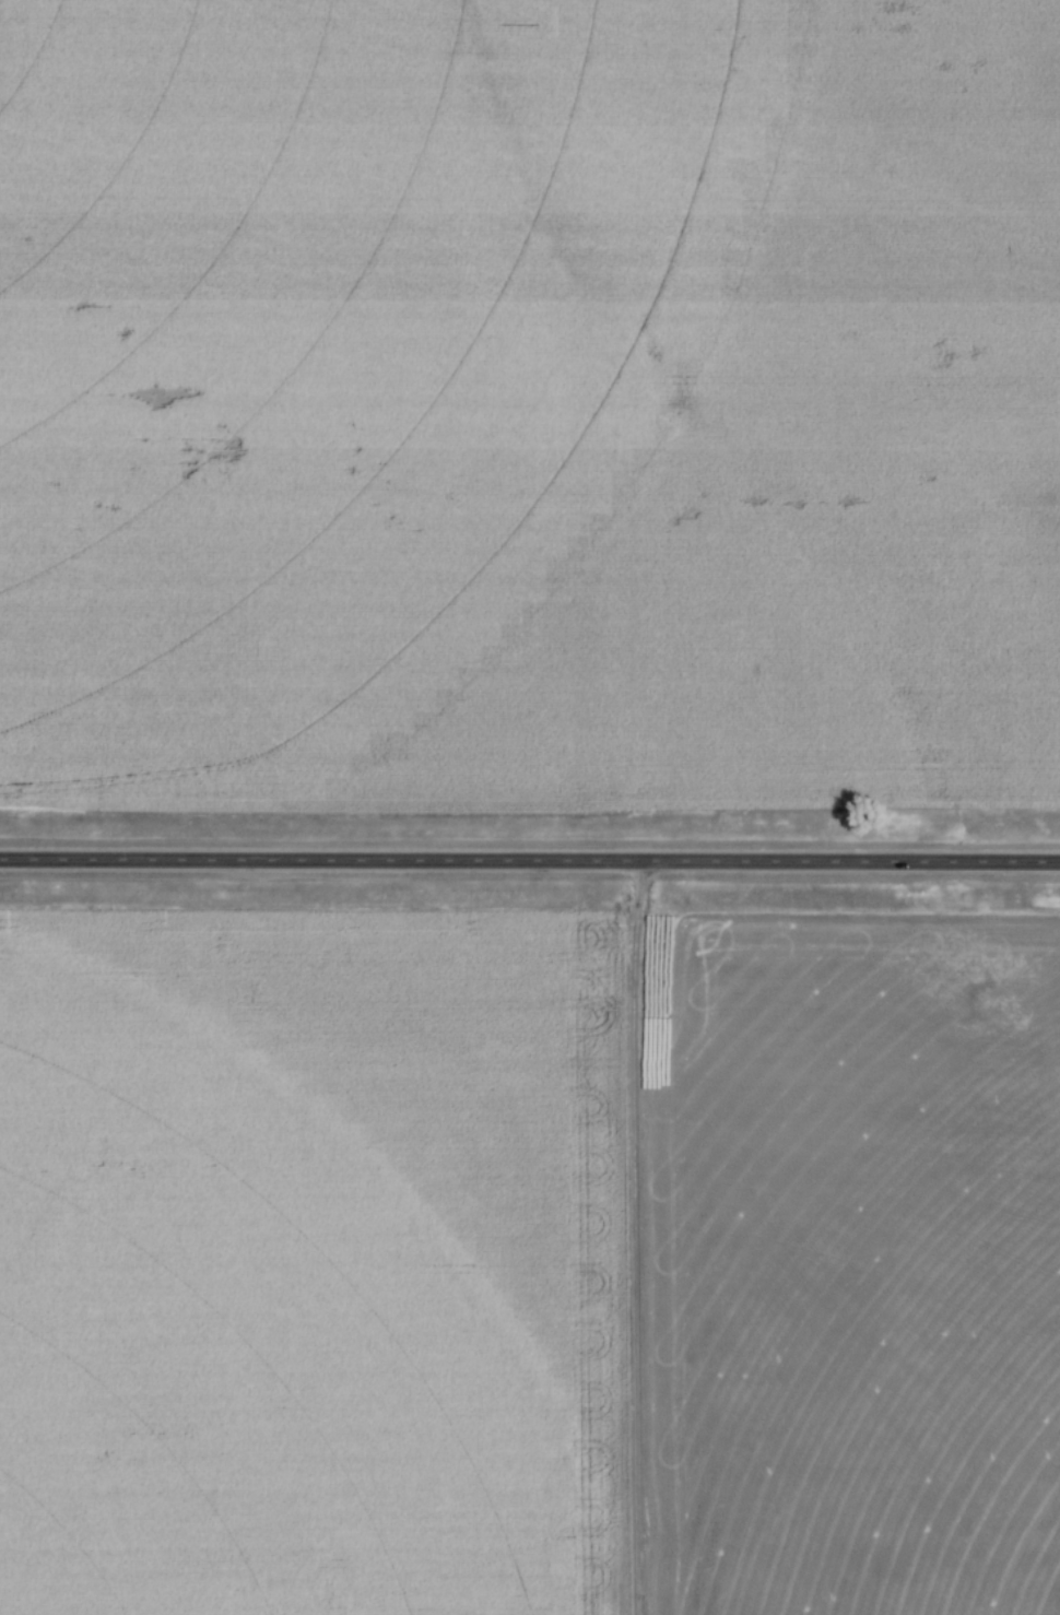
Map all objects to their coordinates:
road: (529, 868)

